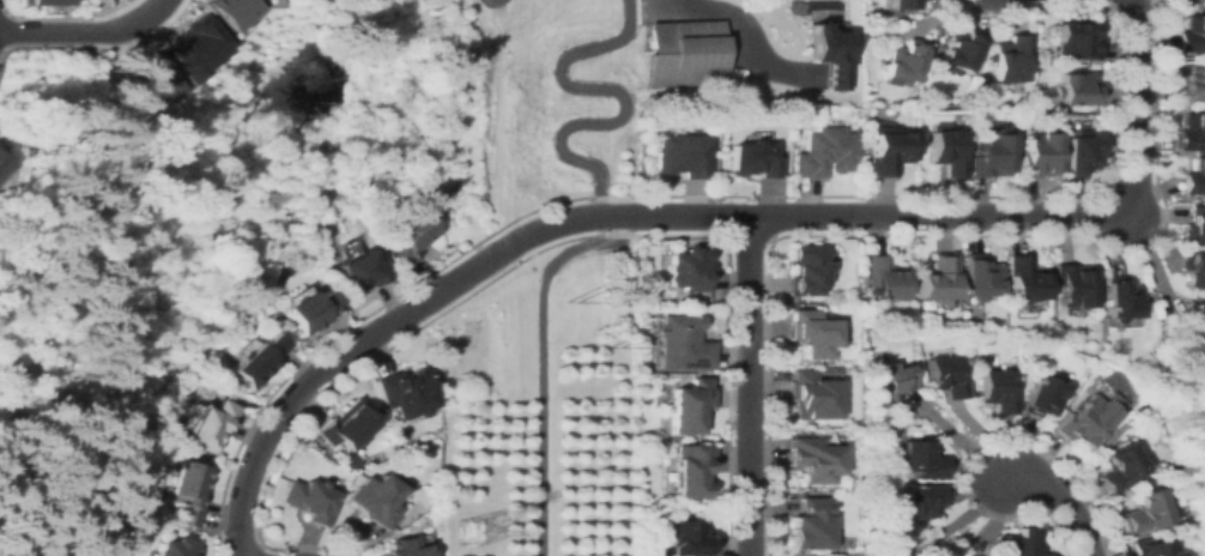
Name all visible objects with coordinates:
building: (249, 0)
building: (1186, 0)
building: (46, 1)
building: (906, 4)
road: (1125, 10)
building: (229, 12)
road: (40, 17)
road: (4, 28)
road: (84, 30)
road: (496, 30)
building: (1191, 35)
building: (1076, 40)
road: (755, 43)
road: (97, 44)
building: (193, 49)
building: (959, 49)
building: (825, 54)
building: (685, 55)
building: (1009, 58)
building: (903, 62)
building: (149, 78)
building: (1189, 80)
road: (612, 90)
building: (1076, 90)
park: (509, 98)
building: (1191, 132)
road: (534, 145)
building: (4, 150)
building: (886, 150)
building: (945, 151)
building: (824, 152)
building: (1079, 153)
building: (680, 155)
building: (989, 155)
building: (1035, 155)
building: (750, 159)
building: (4, 167)
building: (1194, 179)
road: (606, 195)
road: (1034, 195)
road: (957, 216)
building: (1194, 225)
road: (931, 234)
building: (410, 235)
road: (746, 238)
road: (535, 249)
building: (688, 268)
building: (1193, 268)
building: (807, 270)
building: (358, 272)
building: (979, 277)
building: (883, 278)
building: (937, 279)
building: (1023, 279)
building: (1072, 285)
power tower: (564, 298)
building: (1120, 300)
building: (704, 302)
building: (307, 310)
road: (349, 324)
building: (1194, 325)
building: (811, 333)
building: (682, 343)
power tower: (610, 344)
road: (353, 347)
road: (538, 349)
building: (255, 361)
building: (821, 370)
building: (944, 375)
building: (888, 380)
road: (746, 385)
building: (998, 391)
building: (405, 393)
building: (810, 395)
building: (1043, 395)
building: (689, 405)
building: (1082, 424)
building: (208, 425)
building: (347, 425)
road: (969, 448)
building: (390, 451)
building: (812, 459)
building: (921, 459)
building: (1119, 467)
building: (691, 470)
building: (188, 490)
building: (376, 500)
road: (1058, 500)
building: (310, 501)
building: (921, 501)
building: (1143, 512)
building: (807, 525)
power tower: (460, 528)
building: (686, 538)
building: (1025, 543)
building: (177, 548)
building: (404, 548)
building: (1150, 548)
road: (249, 549)

